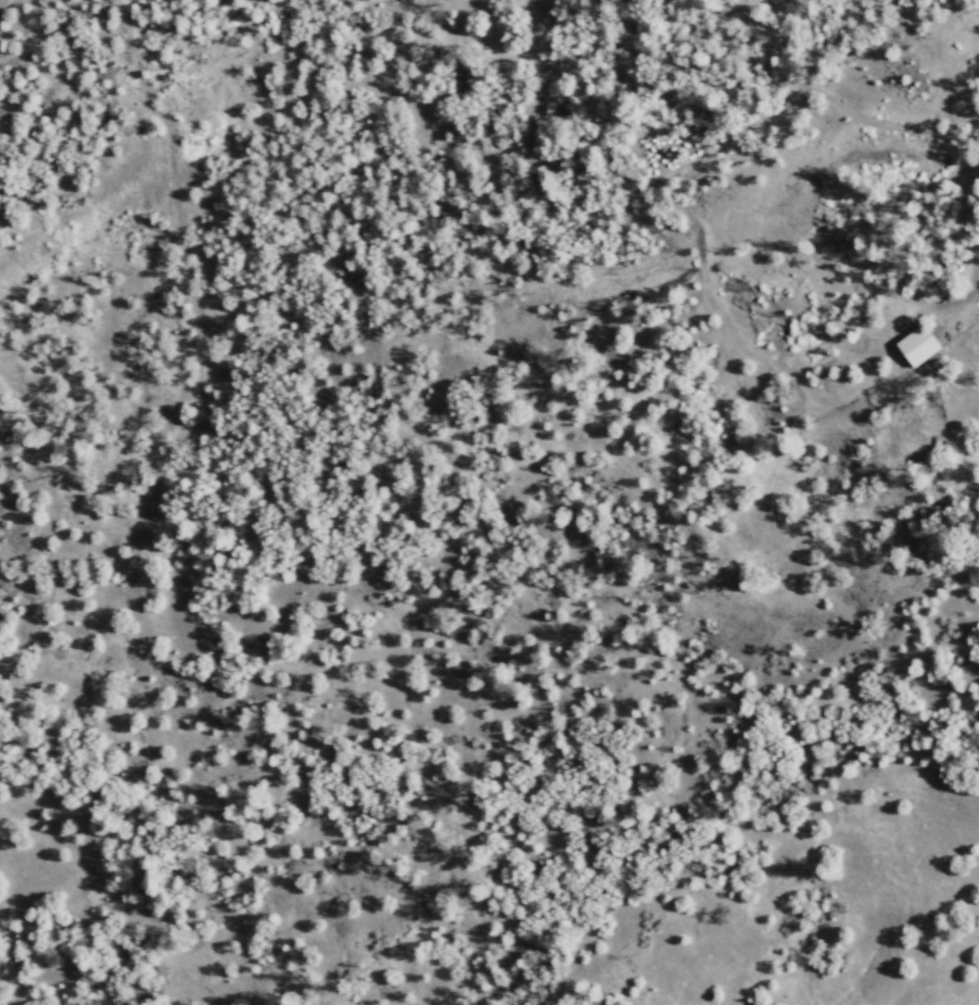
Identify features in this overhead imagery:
building: (912, 345)

